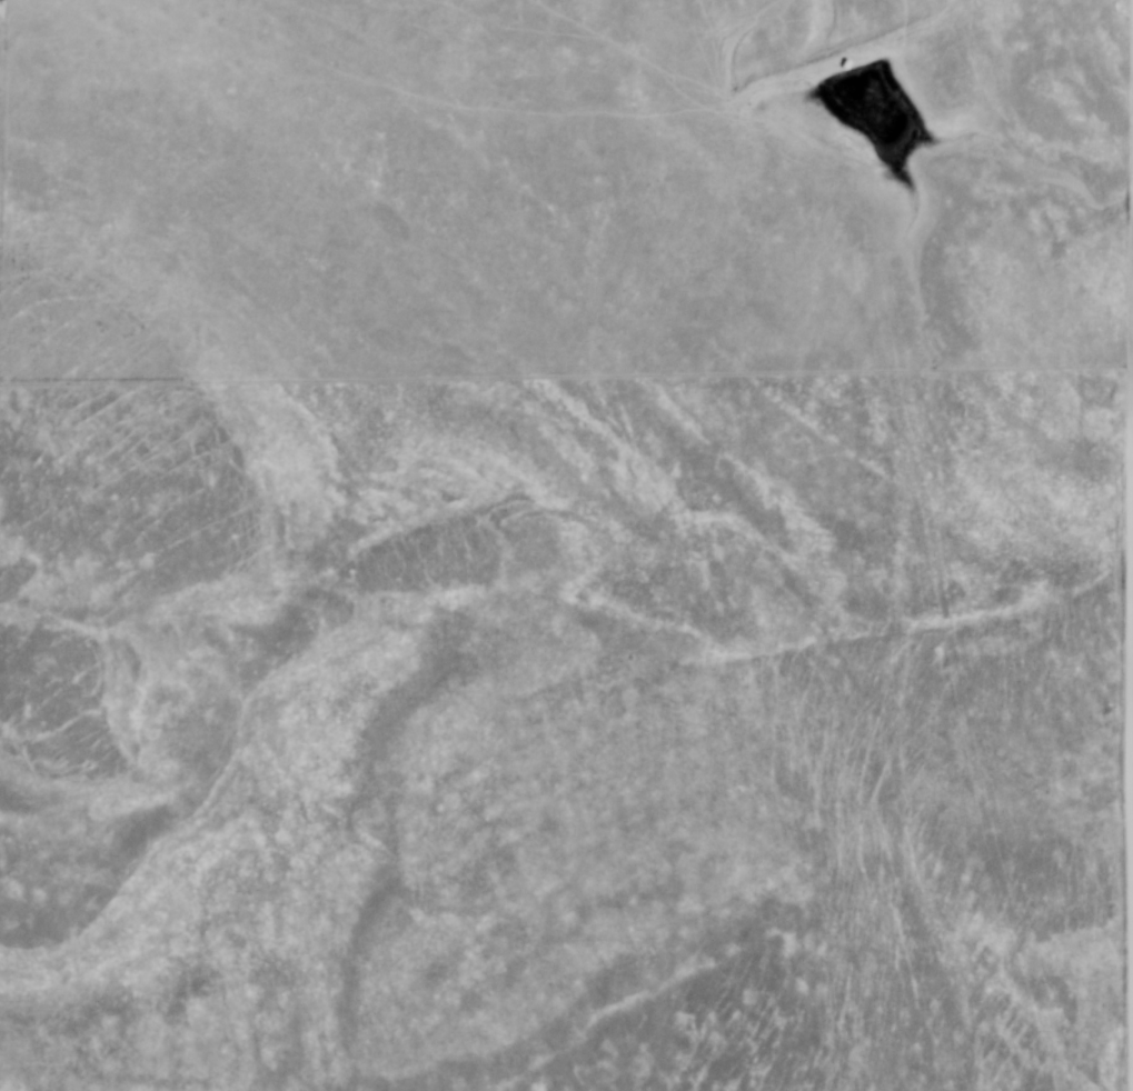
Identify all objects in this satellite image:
road: (847, 14)
road: (1132, 658)

